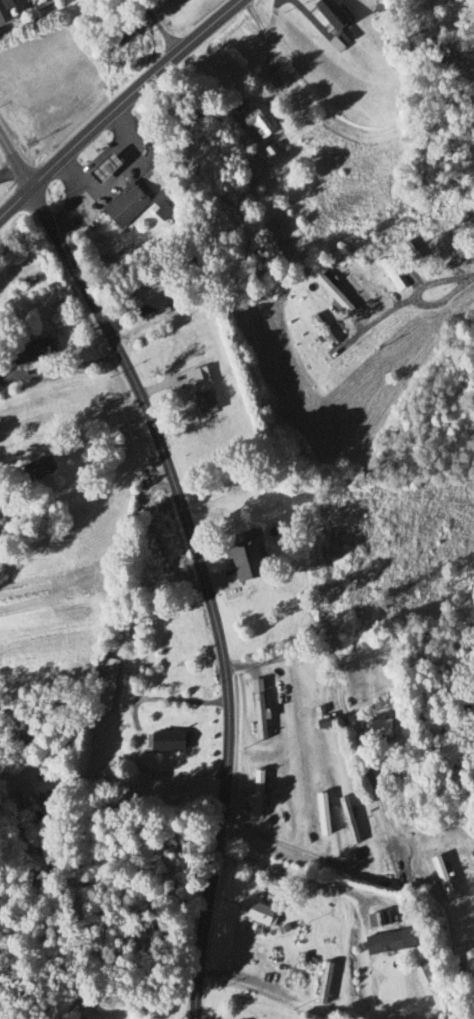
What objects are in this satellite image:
building: (327, 15)
building: (1, 18)
road: (159, 25)
road: (116, 103)
building: (251, 125)
road: (13, 164)
building: (100, 170)
road: (8, 172)
building: (123, 207)
road: (467, 279)
building: (393, 286)
building: (329, 296)
road: (411, 302)
building: (149, 306)
building: (318, 332)
building: (24, 352)
road: (69, 366)
building: (188, 379)
building: (199, 403)
building: (31, 467)
building: (297, 499)
building: (242, 555)
road: (205, 585)
building: (103, 685)
road: (340, 705)
building: (256, 711)
building: (373, 728)
building: (11, 737)
building: (164, 741)
building: (253, 794)
building: (318, 815)
building: (344, 820)
road: (285, 848)
road: (297, 877)
building: (438, 878)
building: (257, 915)
building: (374, 920)
building: (386, 942)
road: (244, 981)
building: (138, 1002)
building: (70, 1015)

